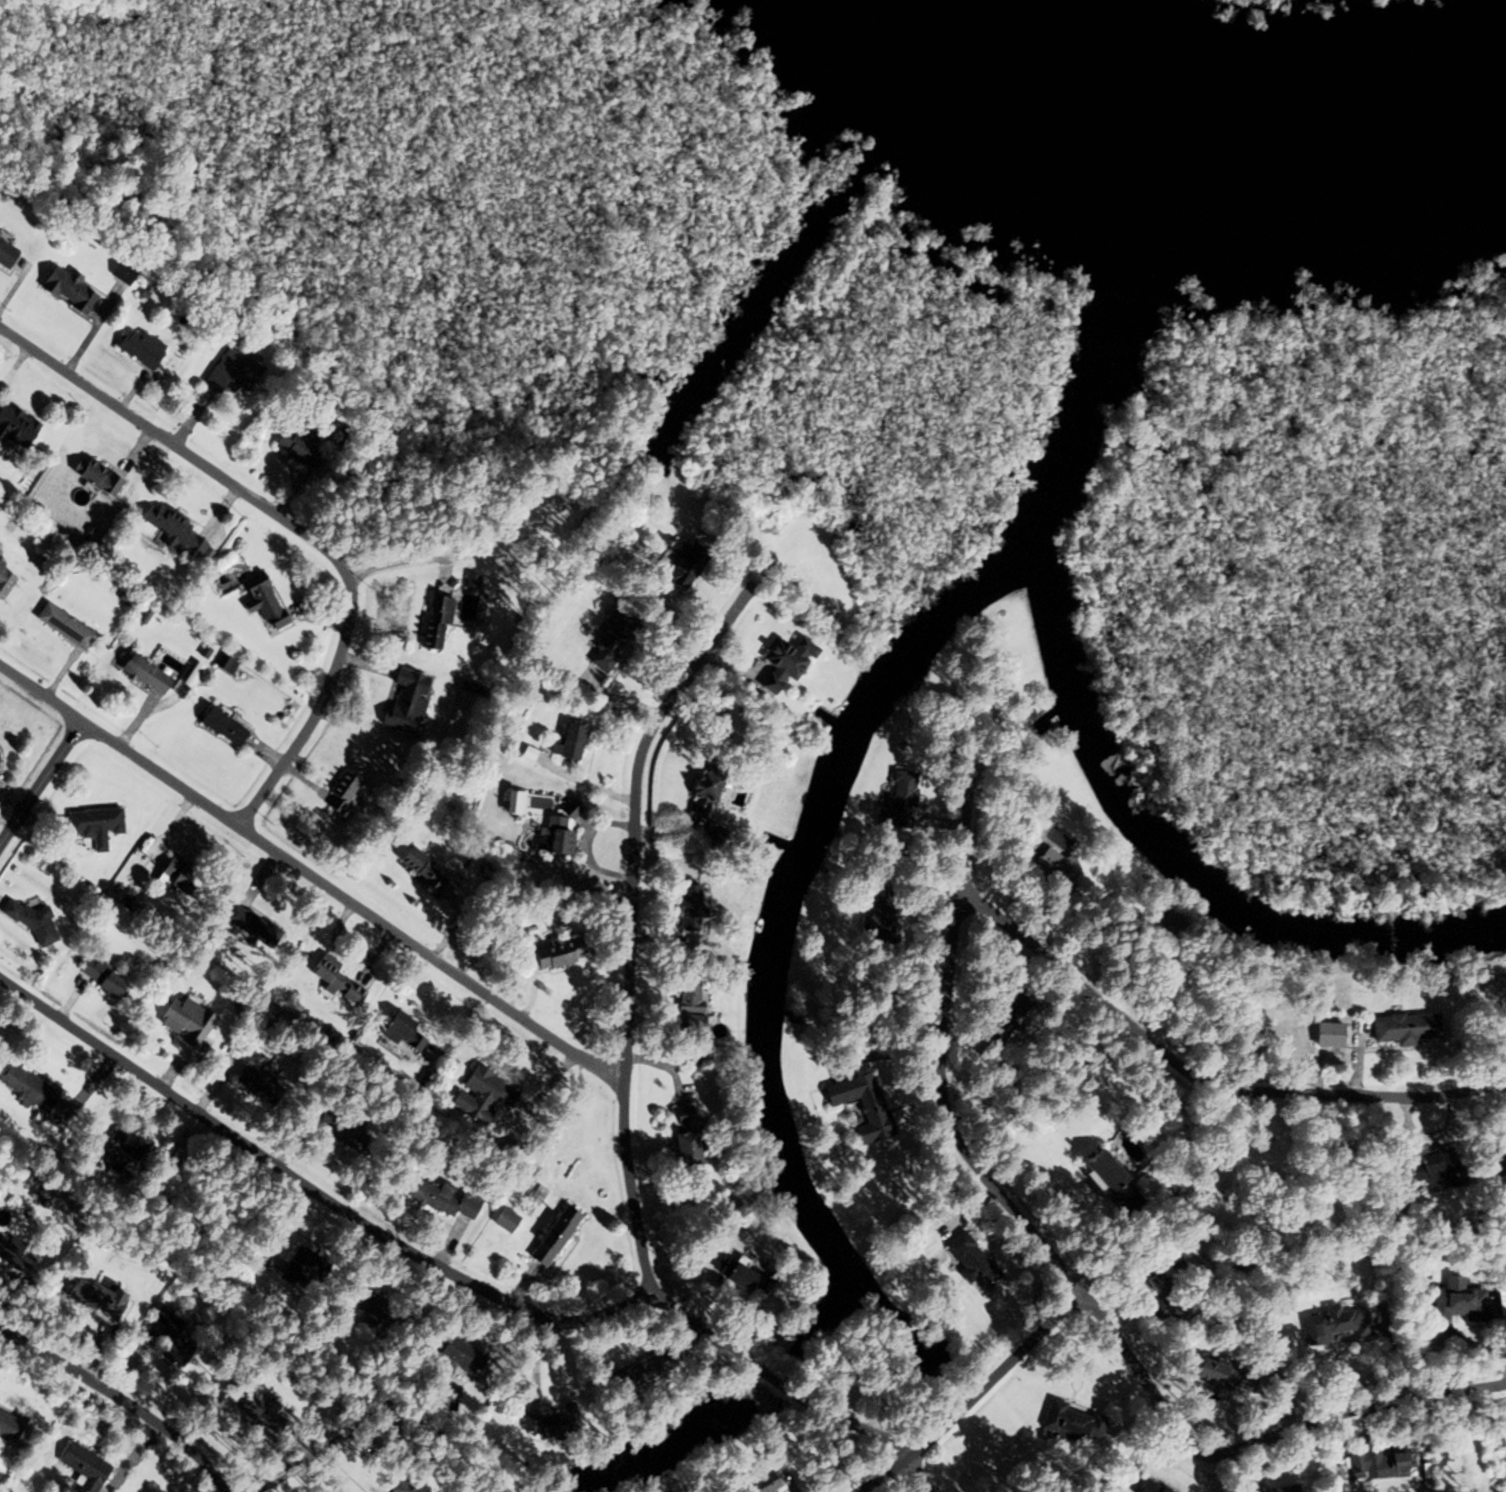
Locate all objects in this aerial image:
river: (1192, 177)
building: (5, 256)
building: (65, 290)
building: (136, 348)
building: (230, 372)
building: (14, 428)
building: (298, 447)
building: (94, 477)
road: (290, 525)
building: (171, 530)
road: (396, 563)
building: (682, 566)
building: (4, 580)
building: (262, 603)
building: (435, 620)
building: (61, 627)
building: (609, 638)
building: (782, 663)
building: (142, 675)
building: (405, 703)
building: (220, 727)
building: (567, 744)
road: (43, 779)
building: (699, 793)
building: (342, 796)
building: (898, 801)
building: (542, 823)
building: (93, 826)
road: (312, 868)
building: (419, 870)
building: (1049, 872)
building: (171, 878)
building: (688, 904)
building: (880, 919)
building: (251, 927)
building: (556, 953)
building: (101, 978)
building: (332, 980)
building: (686, 1008)
building: (788, 1018)
building: (182, 1022)
building: (1403, 1029)
building: (400, 1033)
building: (1326, 1036)
road: (1197, 1079)
building: (255, 1084)
building: (26, 1089)
road: (624, 1093)
building: (480, 1095)
building: (860, 1106)
building: (341, 1130)
building: (682, 1139)
building: (123, 1156)
building: (1499, 1166)
building: (1431, 1170)
building: (1109, 1183)
road: (315, 1193)
building: (438, 1197)
building: (504, 1221)
building: (550, 1237)
building: (8, 1249)
road: (1058, 1261)
building: (971, 1263)
building: (297, 1267)
building: (746, 1276)
building: (93, 1297)
building: (1166, 1302)
building: (1456, 1302)
building: (367, 1306)
building: (394, 1323)
building: (1333, 1326)
building: (169, 1338)
building: (455, 1360)
building: (638, 1373)
building: (1220, 1375)
road: (975, 1398)
road: (116, 1406)
building: (251, 1406)
building: (1072, 1423)
building: (552, 1424)
building: (13, 1430)
road: (308, 1458)
building: (1372, 1462)
building: (82, 1466)
building: (759, 1484)
building: (1147, 1486)
building: (405, 1487)
building: (1269, 1489)

